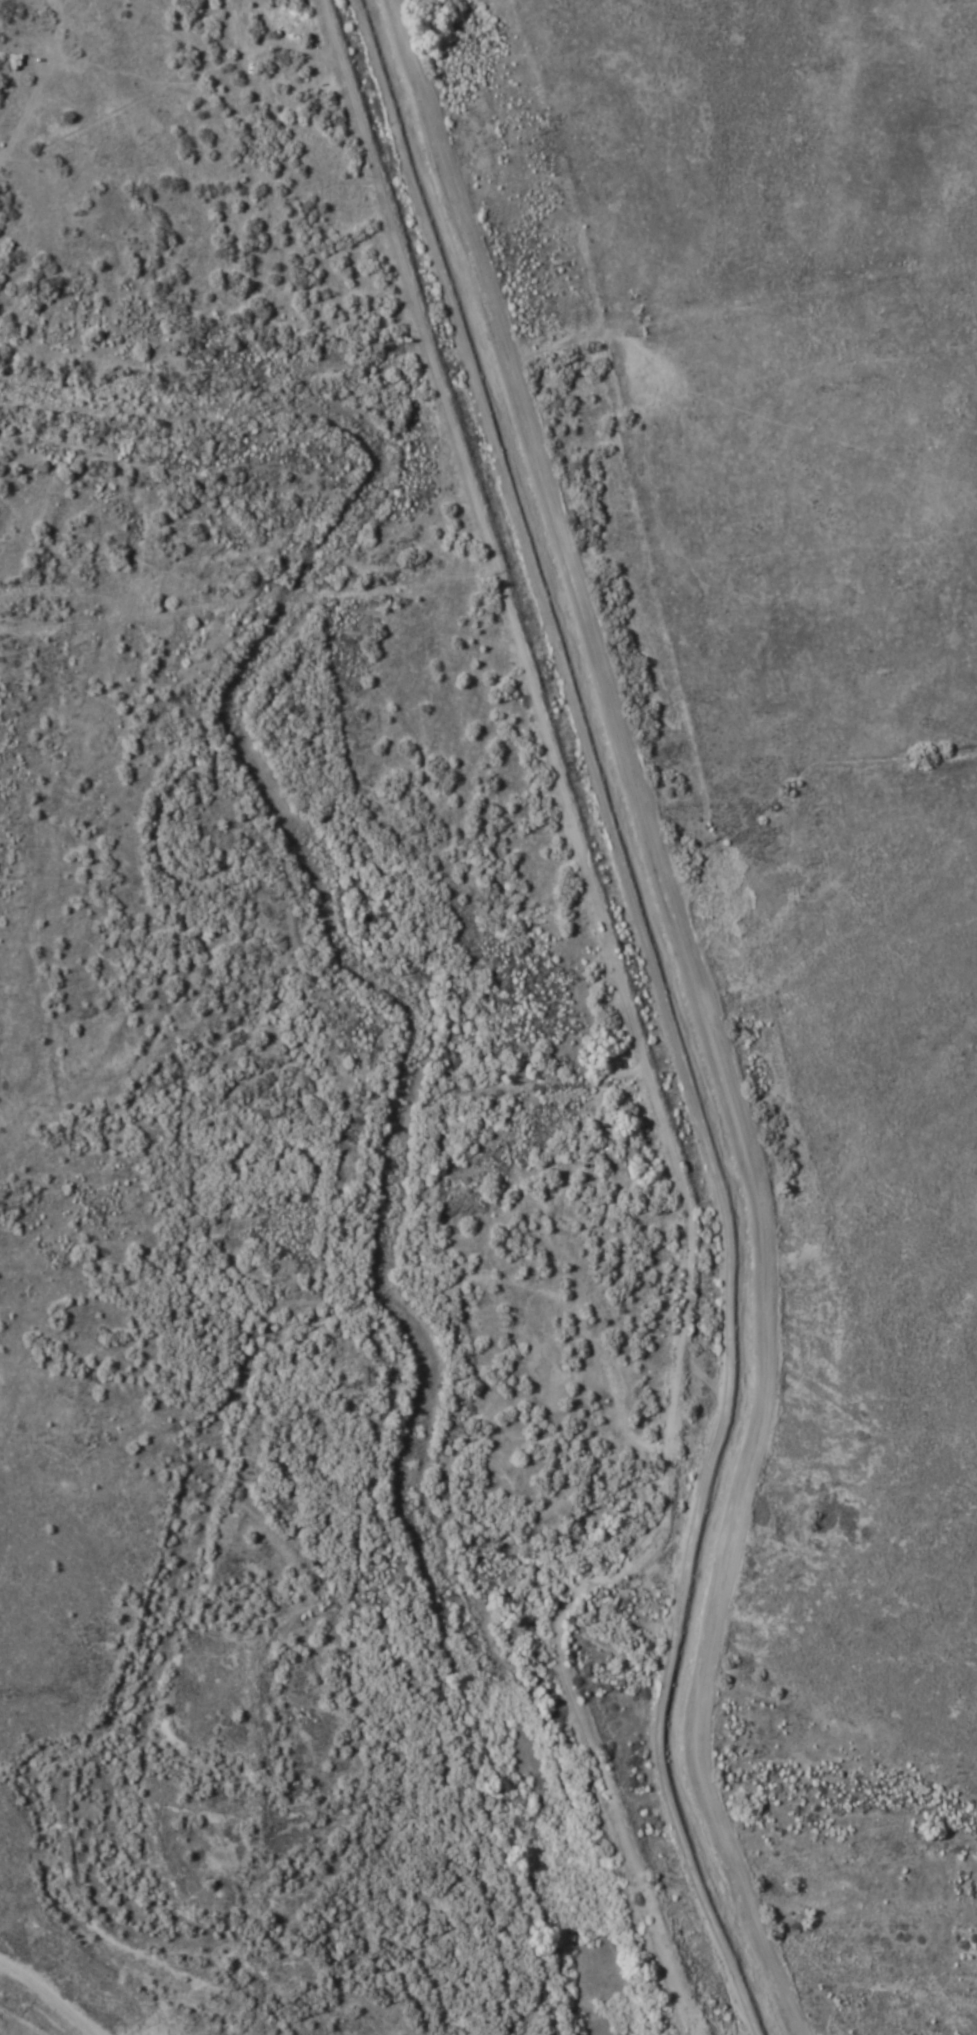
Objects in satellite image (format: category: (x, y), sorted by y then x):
road: (343, 124)
road: (53, 2002)

